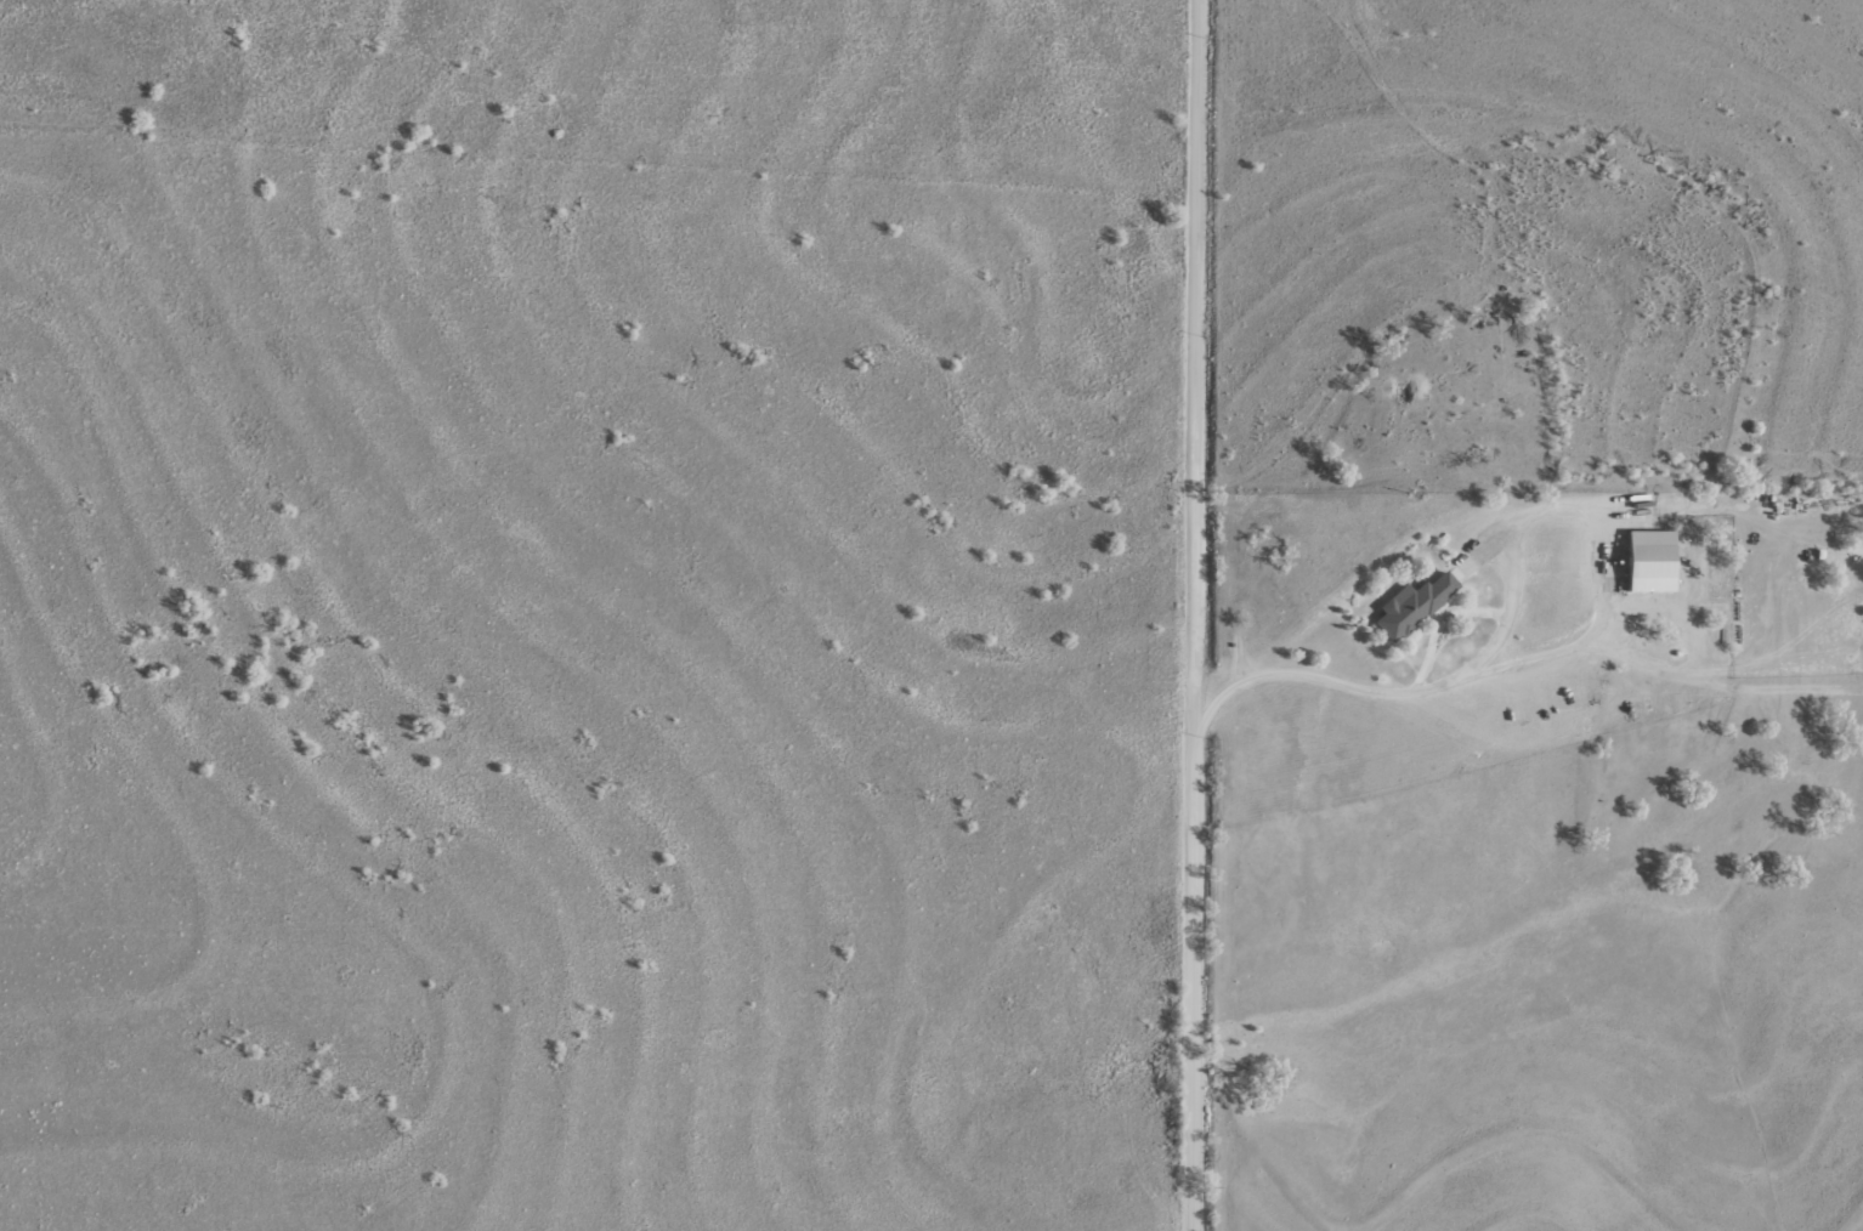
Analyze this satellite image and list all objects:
building: (1649, 561)
building: (1414, 606)
road: (1200, 615)

